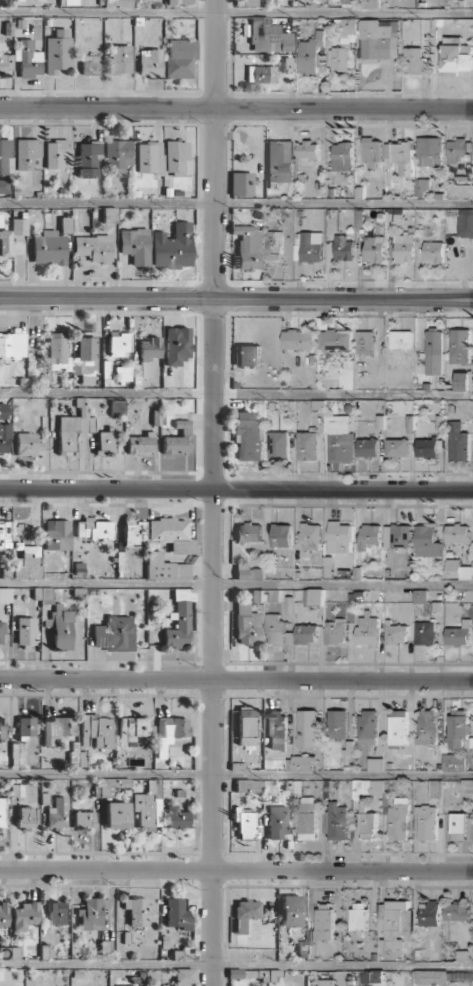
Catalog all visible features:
building: (348, 1)
building: (73, 2)
building: (178, 2)
building: (250, 2)
building: (370, 3)
road: (236, 13)
building: (269, 36)
building: (364, 43)
building: (58, 52)
building: (309, 54)
building: (456, 56)
building: (28, 58)
building: (180, 58)
building: (120, 59)
building: (415, 61)
building: (149, 62)
building: (6, 63)
building: (90, 64)
building: (284, 66)
building: (261, 74)
road: (236, 109)
building: (307, 149)
building: (459, 150)
building: (429, 151)
building: (372, 152)
building: (26, 153)
building: (56, 153)
building: (117, 155)
building: (400, 155)
building: (5, 156)
building: (343, 156)
building: (175, 157)
building: (149, 158)
building: (88, 159)
building: (280, 161)
building: (241, 183)
building: (4, 186)
building: (421, 187)
road: (236, 207)
building: (110, 214)
building: (465, 222)
building: (19, 226)
building: (4, 240)
building: (274, 245)
building: (136, 246)
building: (173, 246)
building: (248, 246)
building: (308, 246)
building: (48, 248)
building: (93, 248)
building: (343, 248)
building: (373, 248)
building: (403, 248)
building: (433, 252)
road: (236, 298)
building: (298, 339)
building: (401, 339)
building: (335, 340)
building: (365, 342)
building: (119, 343)
building: (11, 344)
building: (176, 345)
building: (460, 346)
building: (87, 348)
building: (149, 348)
building: (58, 350)
building: (434, 352)
building: (248, 355)
building: (122, 373)
building: (340, 378)
building: (462, 381)
road: (236, 394)
building: (117, 406)
building: (399, 407)
building: (3, 410)
building: (410, 423)
building: (74, 425)
building: (247, 436)
building: (4, 438)
building: (339, 438)
building: (178, 439)
building: (105, 442)
building: (458, 442)
building: (27, 444)
building: (140, 444)
building: (308, 445)
building: (278, 446)
building: (367, 447)
building: (397, 447)
building: (427, 447)
road: (236, 489)
road: (214, 493)
building: (93, 529)
building: (133, 532)
building: (248, 532)
building: (457, 533)
building: (4, 534)
building: (56, 534)
building: (171, 534)
building: (281, 535)
building: (310, 535)
building: (369, 536)
building: (397, 536)
building: (338, 539)
building: (427, 541)
building: (28, 563)
building: (165, 568)
building: (458, 570)
building: (248, 572)
road: (236, 583)
building: (42, 593)
building: (5, 595)
building: (257, 595)
building: (420, 596)
building: (316, 597)
building: (180, 619)
building: (247, 624)
building: (60, 627)
building: (275, 629)
building: (335, 631)
building: (367, 631)
building: (26, 632)
building: (306, 633)
building: (425, 633)
building: (115, 634)
building: (396, 634)
building: (1, 635)
building: (459, 635)
road: (236, 680)
building: (337, 724)
building: (246, 726)
building: (368, 726)
building: (1, 727)
building: (25, 727)
building: (398, 727)
building: (427, 727)
building: (458, 728)
building: (57, 729)
building: (277, 729)
building: (308, 729)
building: (132, 730)
building: (96, 731)
building: (170, 732)
building: (454, 762)
building: (303, 763)
building: (375, 764)
road: (236, 775)
building: (248, 785)
building: (435, 788)
building: (386, 804)
building: (149, 805)
building: (1, 811)
building: (57, 813)
building: (116, 815)
building: (25, 817)
building: (176, 818)
building: (307, 818)
building: (84, 819)
building: (337, 821)
building: (244, 822)
building: (277, 822)
building: (426, 822)
building: (459, 826)
road: (236, 870)
building: (138, 911)
building: (291, 911)
building: (456, 911)
building: (57, 913)
building: (91, 913)
building: (429, 913)
building: (177, 914)
building: (245, 914)
building: (3, 915)
building: (24, 916)
building: (359, 916)
building: (324, 921)
building: (395, 922)
road: (236, 965)
building: (234, 973)
building: (184, 975)
building: (371, 976)
building: (325, 982)

